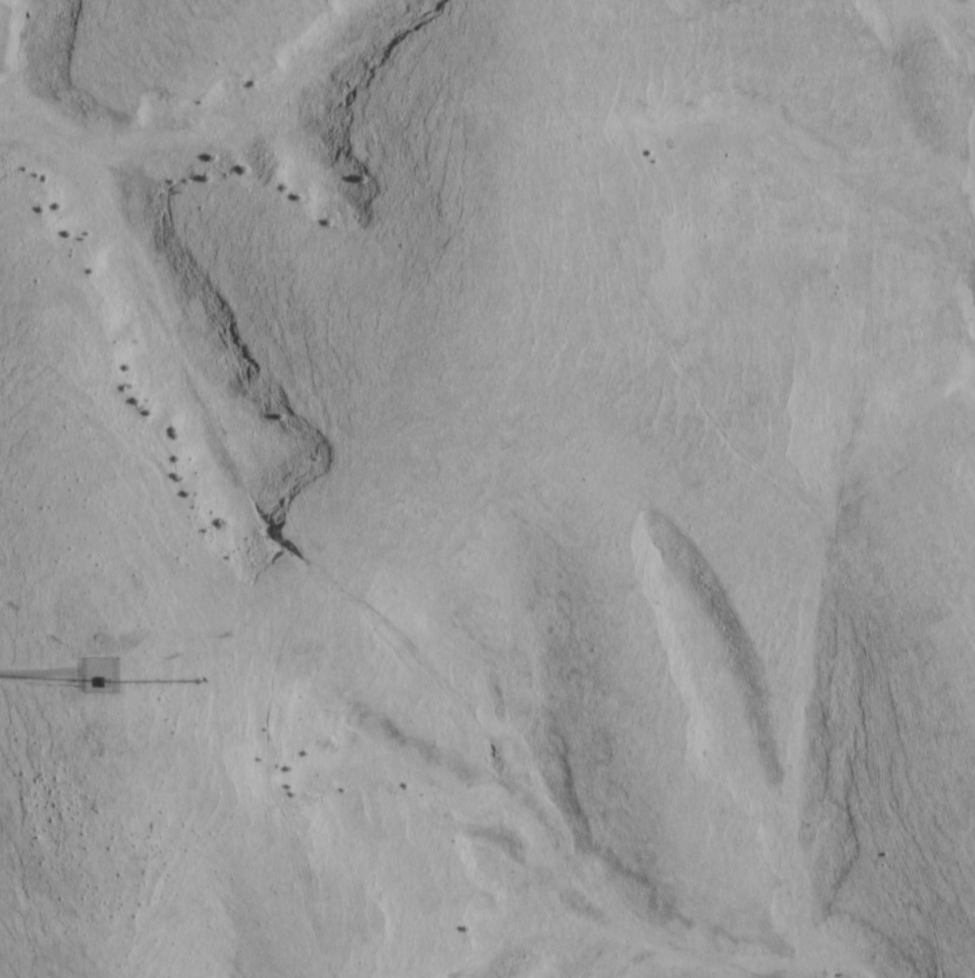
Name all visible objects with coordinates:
road: (36, 673)

